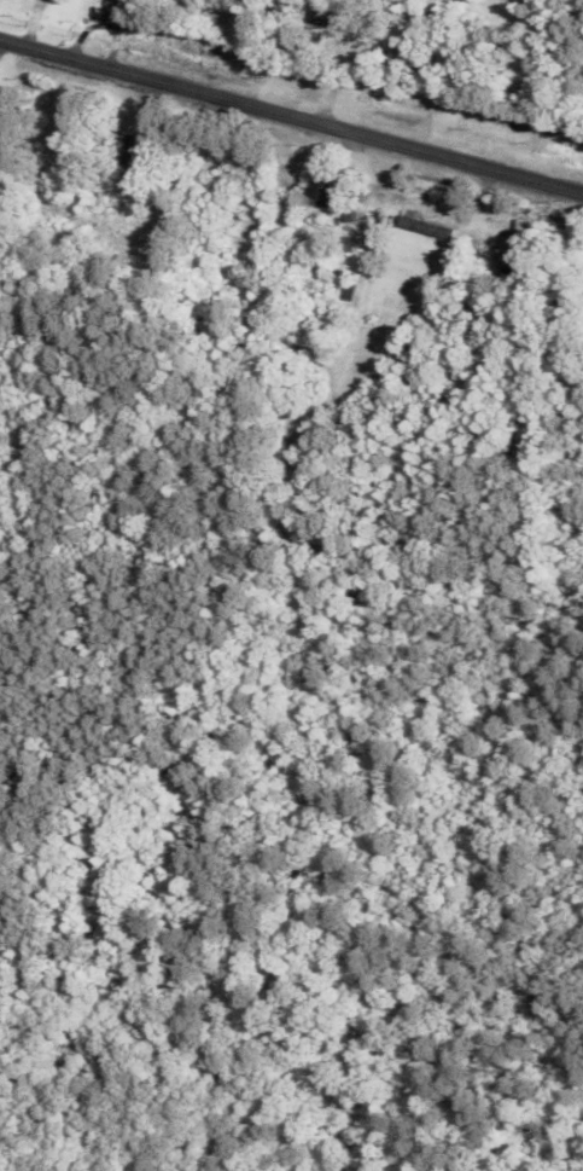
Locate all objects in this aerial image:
building: (123, 6)
road: (291, 116)
building: (139, 157)
building: (323, 187)
building: (430, 227)
building: (521, 244)

